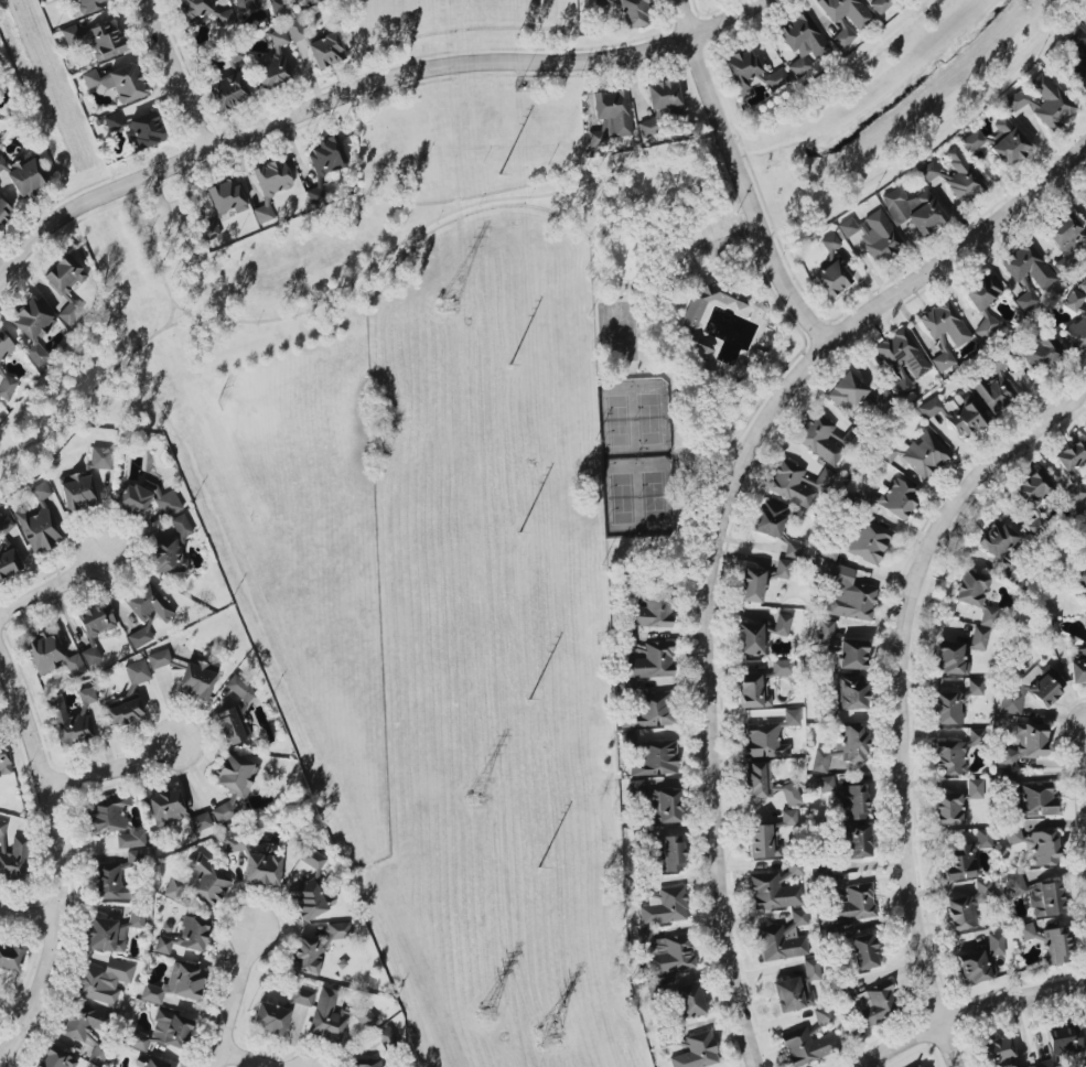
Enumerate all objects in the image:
building: (240, 1)
building: (601, 2)
building: (89, 6)
building: (880, 6)
building: (278, 7)
building: (194, 9)
building: (846, 11)
building: (634, 13)
building: (226, 18)
building: (294, 30)
building: (842, 36)
building: (96, 40)
building: (800, 42)
building: (325, 50)
building: (1077, 58)
building: (273, 62)
building: (743, 72)
road: (179, 74)
building: (777, 80)
road: (830, 82)
building: (118, 83)
road: (1058, 84)
road: (363, 85)
building: (227, 91)
building: (1042, 100)
building: (660, 105)
building: (610, 117)
building: (146, 130)
road: (937, 137)
building: (972, 141)
building: (1010, 148)
building: (327, 157)
building: (2, 163)
building: (928, 171)
building: (26, 175)
building: (961, 176)
road: (739, 177)
road: (623, 180)
building: (270, 185)
building: (314, 194)
building: (226, 196)
building: (1083, 198)
building: (913, 209)
building: (4, 212)
road: (703, 212)
road: (436, 219)
road: (743, 227)
building: (209, 230)
building: (874, 236)
parking lot: (716, 239)
building: (1065, 239)
building: (830, 242)
road: (679, 248)
road: (692, 249)
building: (1029, 273)
building: (831, 279)
road: (657, 283)
building: (66, 285)
building: (1083, 285)
building: (982, 301)
power tower: (445, 306)
building: (695, 308)
road: (181, 311)
building: (1076, 319)
building: (32, 327)
park: (616, 331)
building: (944, 333)
road: (138, 343)
building: (4, 346)
park: (673, 346)
building: (700, 349)
building: (1041, 353)
building: (902, 354)
building: (7, 387)
building: (901, 387)
building: (992, 391)
building: (846, 392)
building: (956, 414)
building: (819, 439)
park: (275, 453)
building: (925, 454)
park: (634, 455)
building: (100, 457)
building: (1073, 468)
building: (798, 483)
building: (1033, 489)
building: (77, 492)
building: (147, 499)
building: (889, 502)
building: (768, 519)
building: (39, 524)
building: (181, 526)
building: (1036, 526)
road: (720, 529)
building: (998, 539)
building: (869, 542)
building: (7, 549)
building: (792, 549)
building: (166, 557)
building: (1082, 574)
building: (761, 581)
road: (53, 584)
building: (846, 593)
building: (976, 596)
building: (146, 611)
building: (653, 613)
building: (782, 624)
building: (95, 628)
building: (825, 629)
building: (979, 638)
building: (750, 639)
building: (631, 643)
building: (852, 655)
building: (159, 658)
road: (1, 659)
building: (950, 659)
building: (652, 661)
building: (1077, 666)
building: (1052, 676)
building: (197, 679)
building: (759, 686)
building: (852, 691)
building: (128, 696)
road: (901, 696)
building: (954, 703)
road: (10, 709)
building: (650, 711)
building: (235, 714)
building: (68, 724)
building: (975, 736)
building: (768, 737)
building: (1025, 743)
building: (843, 748)
building: (949, 757)
building: (656, 758)
building: (3, 759)
road: (115, 766)
building: (1007, 778)
building: (233, 785)
building: (768, 785)
building: (827, 786)
building: (975, 788)
power tower: (472, 799)
building: (1036, 800)
building: (658, 802)
building: (852, 802)
building: (947, 809)
building: (173, 811)
building: (112, 823)
building: (2, 828)
building: (1012, 833)
building: (768, 836)
building: (858, 841)
building: (235, 843)
building: (1043, 848)
building: (669, 854)
building: (966, 858)
building: (14, 859)
road: (61, 861)
building: (261, 869)
building: (198, 882)
building: (109, 883)
building: (309, 891)
building: (772, 892)
building: (1037, 895)
building: (660, 904)
building: (961, 913)
road: (29, 915)
building: (136, 919)
building: (1025, 931)
building: (105, 935)
building: (185, 936)
building: (783, 939)
building: (1055, 946)
building: (316, 947)
building: (863, 951)
building: (670, 953)
building: (10, 958)
building: (980, 961)
building: (103, 980)
building: (176, 984)
building: (797, 988)
building: (301, 996)
road: (233, 1001)
building: (689, 1001)
building: (869, 1003)
road: (975, 1012)
building: (821, 1015)
building: (327, 1016)
building: (363, 1016)
power tower: (484, 1016)
building: (270, 1018)
building: (79, 1023)
building: (163, 1031)
building: (387, 1036)
power tower: (548, 1036)
building: (1062, 1043)
building: (808, 1047)
building: (697, 1052)
building: (999, 1052)
building: (98, 1053)
building: (56, 1058)
road: (238, 1060)
building: (151, 1064)
building: (368, 1065)
building: (920, 1066)
building: (1030, 1066)

